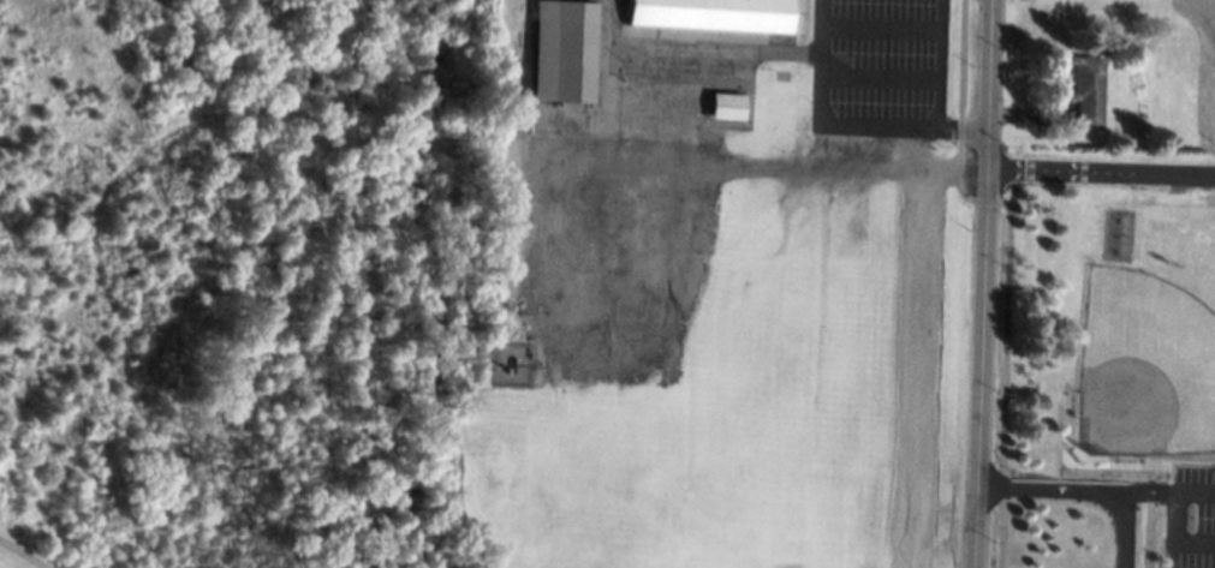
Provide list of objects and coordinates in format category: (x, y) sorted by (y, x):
building: (710, 14)
road: (880, 24)
road: (713, 49)
building: (556, 50)
road: (820, 60)
road: (936, 62)
parking lot: (877, 68)
road: (877, 73)
building: (1085, 90)
building: (725, 106)
road: (959, 121)
road: (901, 125)
road: (910, 163)
road: (1100, 173)
park: (214, 281)
road: (982, 283)
road: (916, 345)
road: (1002, 369)
park: (1144, 369)
road: (1079, 490)
road: (1148, 494)
parking lot: (1193, 518)
park: (780, 524)
road: (1180, 534)
road: (23, 555)

